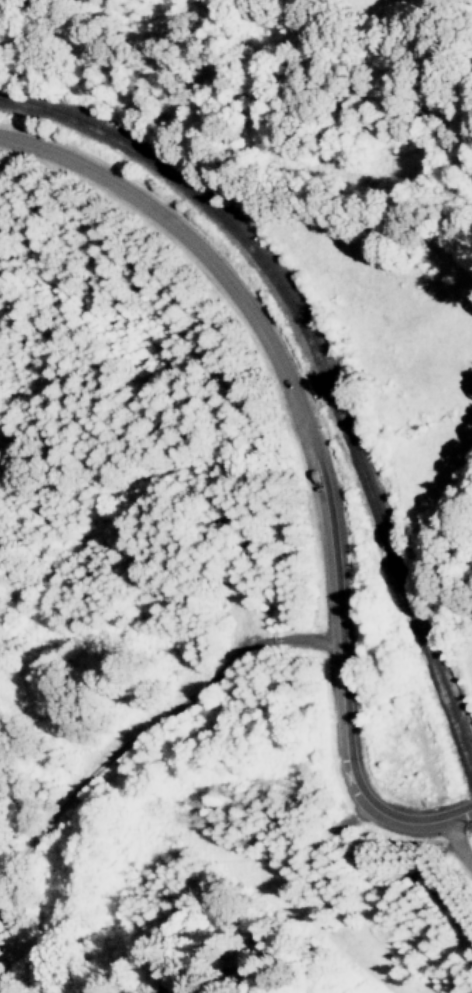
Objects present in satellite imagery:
railway: (317, 369)
road: (315, 450)
road: (454, 846)

